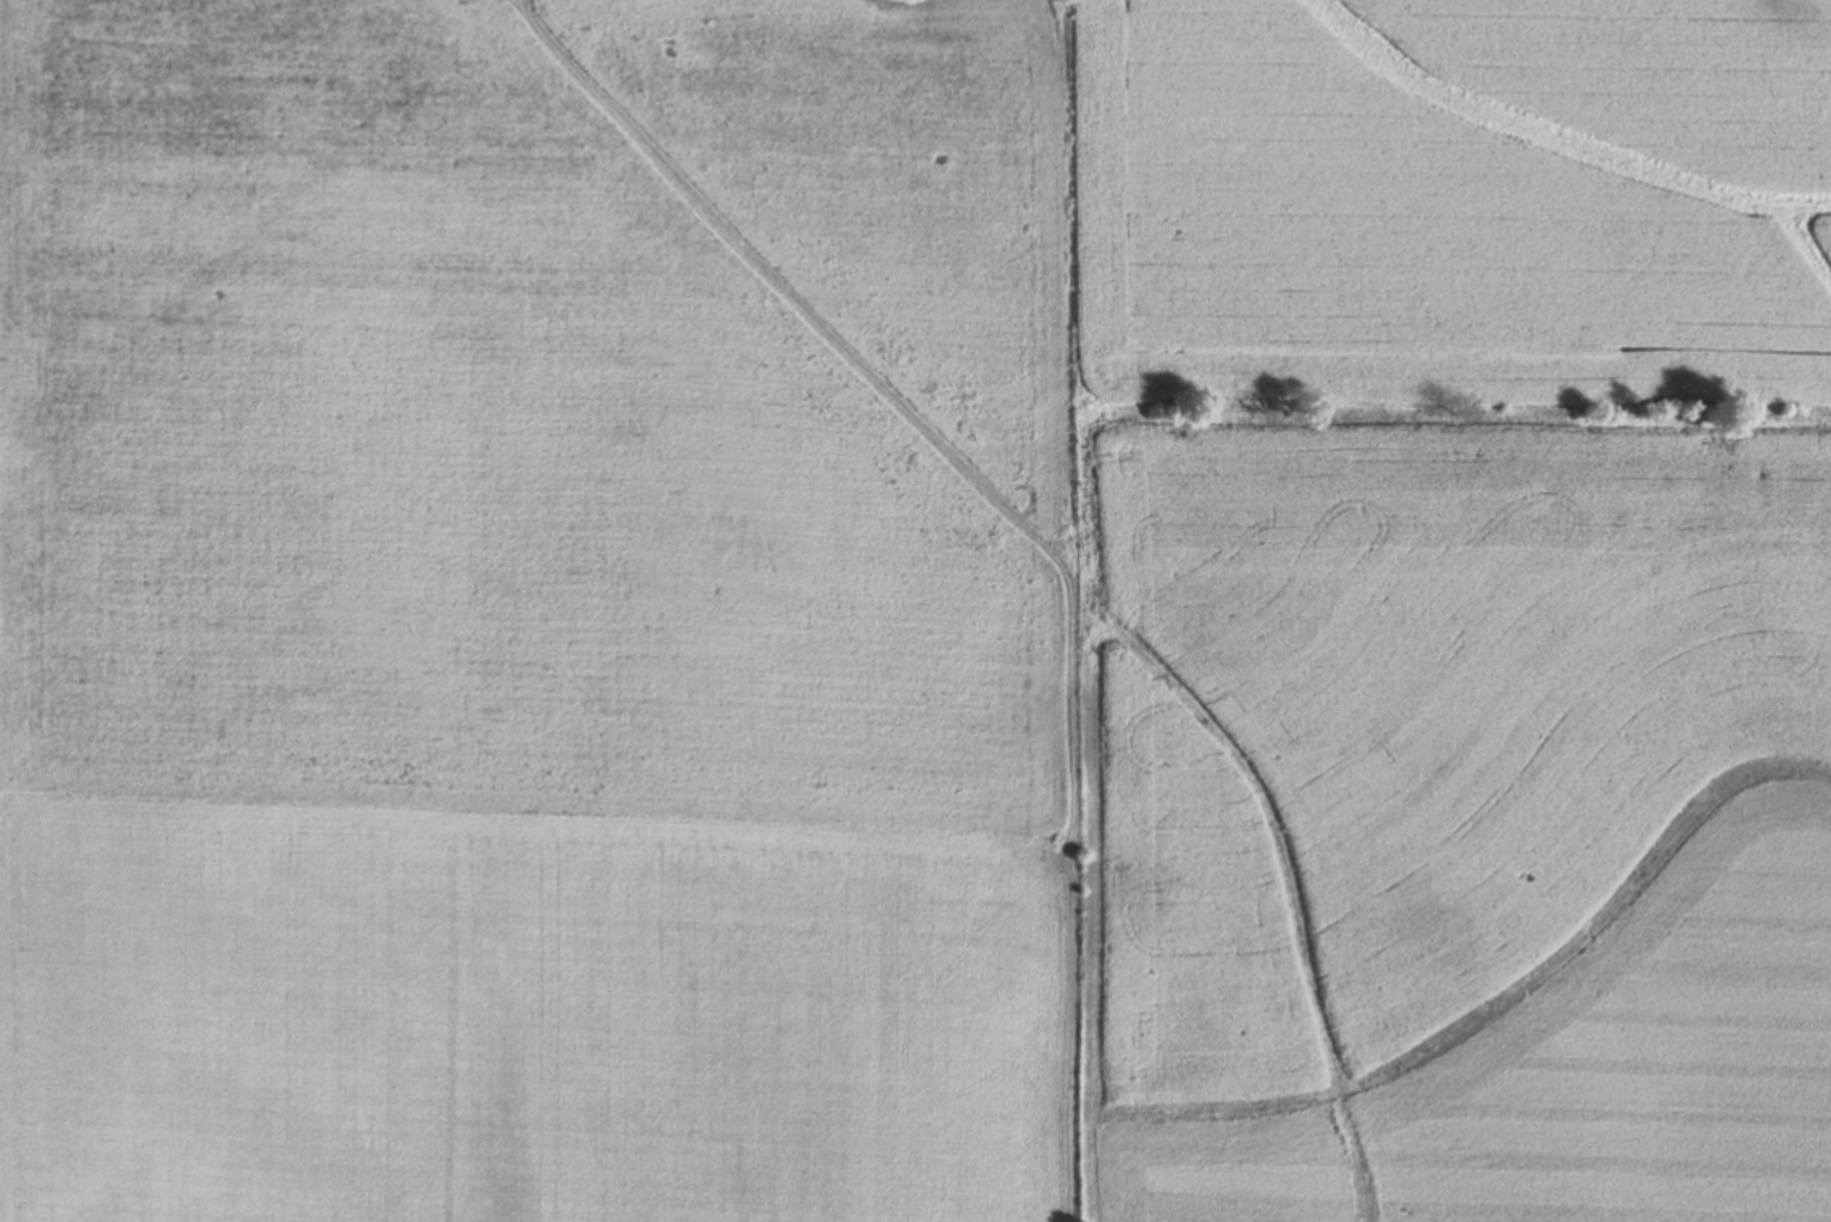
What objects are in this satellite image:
road: (861, 366)

